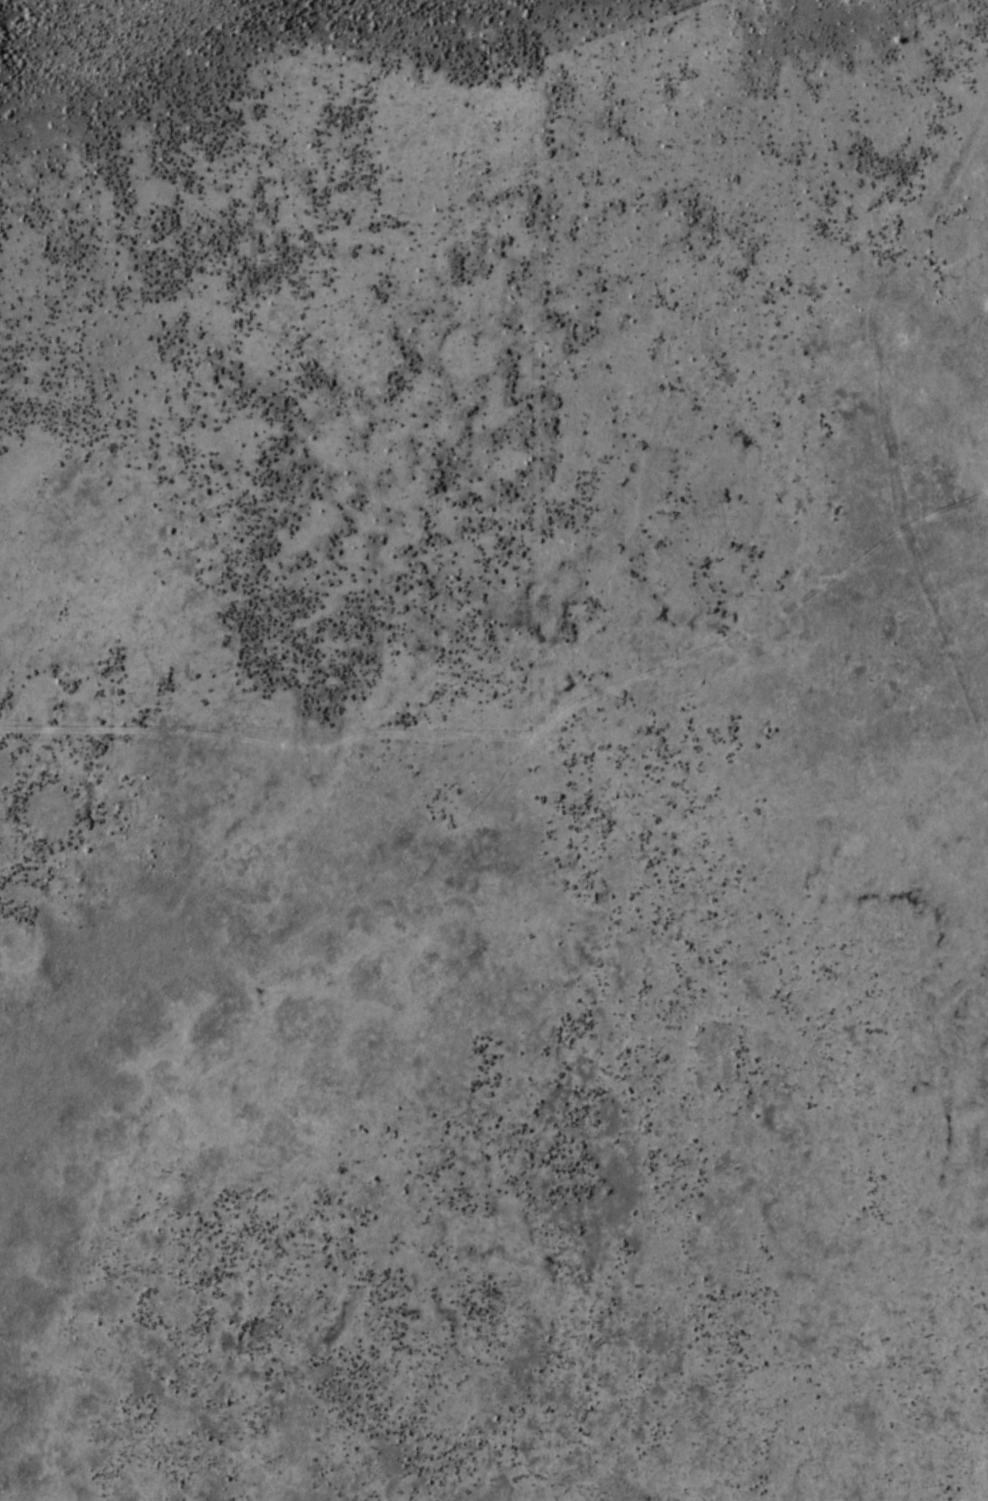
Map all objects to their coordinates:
road: (541, 578)

